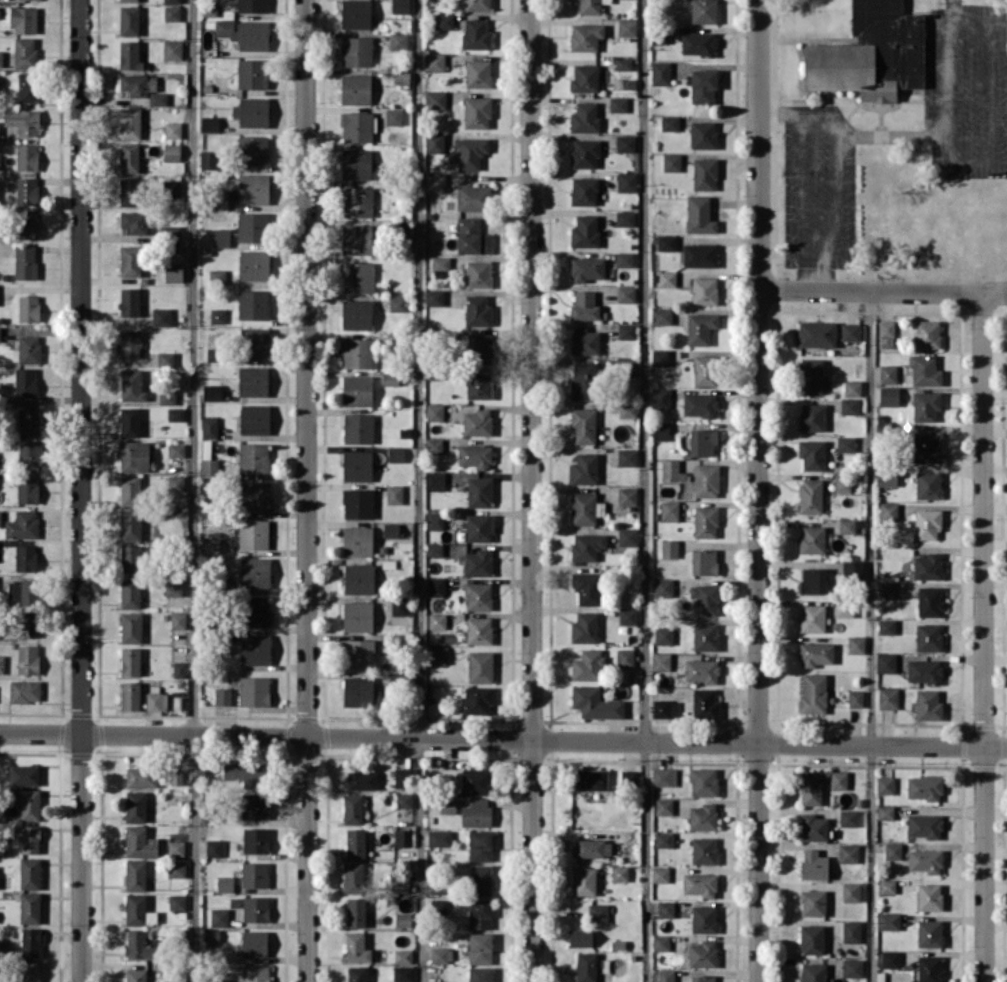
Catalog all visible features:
building: (128, 0)
building: (171, 1)
building: (477, 5)
building: (252, 6)
building: (400, 6)
building: (591, 6)
building: (703, 11)
building: (172, 13)
building: (355, 14)
building: (24, 19)
building: (128, 20)
building: (444, 21)
building: (626, 27)
building: (245, 33)
building: (475, 34)
building: (585, 36)
building: (398, 40)
building: (698, 43)
building: (172, 49)
building: (356, 51)
building: (25, 52)
building: (870, 53)
building: (129, 55)
building: (1, 58)
building: (434, 61)
building: (623, 63)
building: (252, 73)
building: (477, 73)
building: (660, 73)
building: (402, 77)
building: (584, 77)
building: (133, 84)
building: (151, 84)
building: (703, 85)
building: (28, 86)
building: (355, 88)
building: (157, 98)
building: (435, 99)
building: (618, 104)
building: (252, 111)
building: (477, 112)
building: (394, 116)
building: (584, 117)
road: (945, 119)
building: (23, 121)
building: (129, 123)
building: (669, 123)
building: (210, 124)
building: (357, 126)
building: (172, 129)
building: (703, 134)
building: (434, 142)
building: (625, 143)
building: (253, 150)
building: (171, 152)
building: (470, 152)
building: (584, 153)
building: (27, 156)
building: (129, 157)
building: (209, 159)
building: (0, 162)
building: (671, 162)
building: (358, 165)
road: (835, 169)
building: (704, 173)
building: (626, 181)
building: (435, 182)
building: (170, 188)
building: (253, 188)
building: (27, 190)
road: (802, 190)
building: (130, 191)
building: (584, 191)
building: (473, 197)
building: (218, 199)
building: (357, 202)
building: (699, 214)
building: (625, 218)
building: (134, 222)
building: (25, 225)
building: (252, 226)
building: (170, 231)
building: (584, 231)
building: (472, 236)
building: (221, 237)
building: (356, 239)
building: (666, 242)
building: (700, 255)
building: (624, 259)
building: (130, 261)
building: (25, 262)
building: (254, 265)
building: (440, 266)
building: (587, 268)
building: (173, 272)
building: (478, 273)
building: (217, 276)
building: (357, 276)
building: (667, 278)
building: (704, 290)
road: (882, 293)
building: (625, 294)
building: (434, 297)
building: (129, 301)
building: (397, 303)
building: (253, 304)
building: (584, 306)
building: (28, 308)
building: (477, 310)
building: (356, 314)
building: (217, 315)
building: (161, 316)
building: (662, 316)
building: (700, 328)
building: (626, 330)
building: (850, 331)
building: (0, 333)
building: (816, 333)
building: (886, 333)
building: (927, 333)
building: (584, 341)
building: (255, 342)
building: (129, 343)
building: (479, 348)
building: (28, 349)
building: (358, 352)
building: (214, 354)
building: (659, 357)
building: (165, 359)
building: (626, 367)
building: (704, 369)
building: (924, 370)
building: (887, 373)
building: (810, 376)
building: (390, 378)
building: (252, 380)
building: (583, 380)
building: (25, 382)
building: (132, 385)
building: (478, 385)
building: (851, 388)
building: (357, 390)
building: (212, 392)
building: (167, 395)
building: (888, 396)
building: (660, 398)
building: (700, 404)
building: (925, 405)
building: (849, 406)
building: (628, 410)
building: (434, 411)
building: (175, 414)
building: (811, 417)
building: (254, 419)
building: (28, 421)
building: (129, 422)
building: (477, 422)
building: (583, 425)
building: (209, 427)
building: (358, 428)
building: (660, 431)
building: (703, 441)
building: (845, 443)
building: (434, 446)
building: (926, 447)
building: (176, 449)
building: (29, 452)
building: (395, 454)
building: (811, 454)
building: (134, 456)
building: (475, 456)
building: (253, 457)
building: (627, 457)
building: (357, 465)
building: (584, 468)
building: (671, 471)
building: (706, 480)
building: (435, 481)
building: (176, 482)
building: (842, 483)
building: (927, 485)
building: (27, 489)
building: (130, 490)
road: (193, 490)
road: (307, 490)
road: (419, 490)
road: (758, 490)
road: (81, 491)
road: (533, 491)
road: (645, 491)
building: (479, 492)
building: (394, 494)
building: (627, 495)
building: (255, 496)
building: (810, 496)
building: (358, 503)
building: (585, 508)
building: (669, 510)
building: (888, 511)
building: (0, 517)
building: (435, 520)
building: (705, 521)
building: (927, 523)
building: (22, 524)
building: (130, 524)
building: (846, 525)
building: (480, 527)
building: (391, 530)
building: (251, 534)
building: (627, 536)
building: (812, 539)
building: (357, 541)
building: (210, 545)
building: (587, 546)
building: (669, 548)
building: (434, 550)
building: (25, 558)
building: (130, 558)
building: (704, 561)
building: (478, 562)
building: (928, 565)
building: (852, 570)
building: (255, 572)
building: (358, 578)
building: (813, 580)
building: (436, 586)
building: (173, 587)
building: (587, 587)
building: (663, 587)
building: (885, 588)
building: (23, 592)
building: (129, 593)
building: (478, 596)
building: (705, 598)
building: (929, 601)
building: (398, 606)
building: (843, 607)
building: (257, 610)
building: (627, 615)
building: (357, 616)
building: (812, 618)
building: (178, 620)
building: (435, 620)
building: (27, 623)
building: (885, 626)
building: (131, 627)
building: (584, 627)
building: (479, 630)
building: (663, 635)
building: (705, 636)
road: (870, 637)
building: (928, 637)
road: (984, 638)
building: (856, 644)
building: (255, 649)
building: (815, 653)
building: (358, 654)
building: (438, 654)
building: (625, 657)
building: (28, 659)
building: (130, 661)
building: (661, 661)
building: (885, 662)
building: (2, 664)
building: (587, 665)
building: (480, 667)
building: (178, 669)
building: (701, 670)
building: (924, 671)
building: (24, 691)
building: (254, 691)
building: (358, 691)
building: (813, 692)
building: (130, 695)
building: (222, 696)
building: (887, 697)
building: (855, 698)
building: (477, 700)
building: (156, 701)
building: (595, 703)
building: (705, 703)
building: (927, 705)
building: (664, 708)
road: (503, 740)
building: (248, 773)
building: (23, 775)
building: (664, 776)
building: (141, 777)
building: (176, 777)
building: (403, 777)
building: (628, 777)
building: (590, 779)
building: (838, 779)
building: (361, 780)
building: (467, 780)
building: (703, 781)
building: (884, 785)
building: (810, 787)
building: (923, 787)
building: (404, 799)
building: (29, 804)
building: (254, 805)
building: (448, 805)
building: (136, 806)
building: (663, 806)
building: (352, 808)
building: (885, 812)
building: (476, 813)
building: (702, 816)
building: (848, 818)
building: (923, 825)
building: (812, 827)
building: (403, 837)
building: (439, 837)
building: (30, 839)
building: (663, 839)
building: (255, 840)
building: (140, 842)
building: (355, 843)
building: (480, 845)
building: (593, 847)
building: (177, 848)
building: (214, 848)
building: (703, 850)
building: (892, 850)
building: (848, 853)
building: (925, 860)
building: (813, 864)
building: (176, 869)
building: (30, 873)
building: (619, 873)
building: (135, 874)
building: (254, 874)
building: (660, 874)
building: (353, 877)
building: (480, 879)
building: (584, 880)
building: (224, 884)
building: (700, 884)
building: (886, 886)
building: (439, 887)
building: (853, 891)
building: (929, 896)
building: (176, 902)
building: (812, 902)
building: (30, 907)
building: (438, 907)
building: (256, 908)
building: (135, 909)
building: (666, 909)
building: (355, 912)
building: (597, 912)
building: (479, 913)
building: (219, 917)
building: (703, 918)
building: (404, 919)
building: (888, 920)
building: (851, 931)
building: (929, 933)
building: (211, 935)
building: (580, 937)
building: (811, 939)
building: (30, 942)
building: (660, 942)
building: (254, 943)
building: (141, 944)
building: (356, 947)
building: (480, 948)
building: (702, 953)
building: (441, 954)
building: (403, 956)
building: (889, 958)
building: (586, 967)
building: (852, 967)
building: (929, 969)
building: (29, 971)
building: (812, 972)
building: (254, 973)
building: (357, 973)
building: (403, 973)
building: (480, 974)
building: (135, 975)
building: (177, 975)
building: (665, 975)
building: (702, 978)
building: (4, 980)
building: (217, 980)
building: (437, 981)

